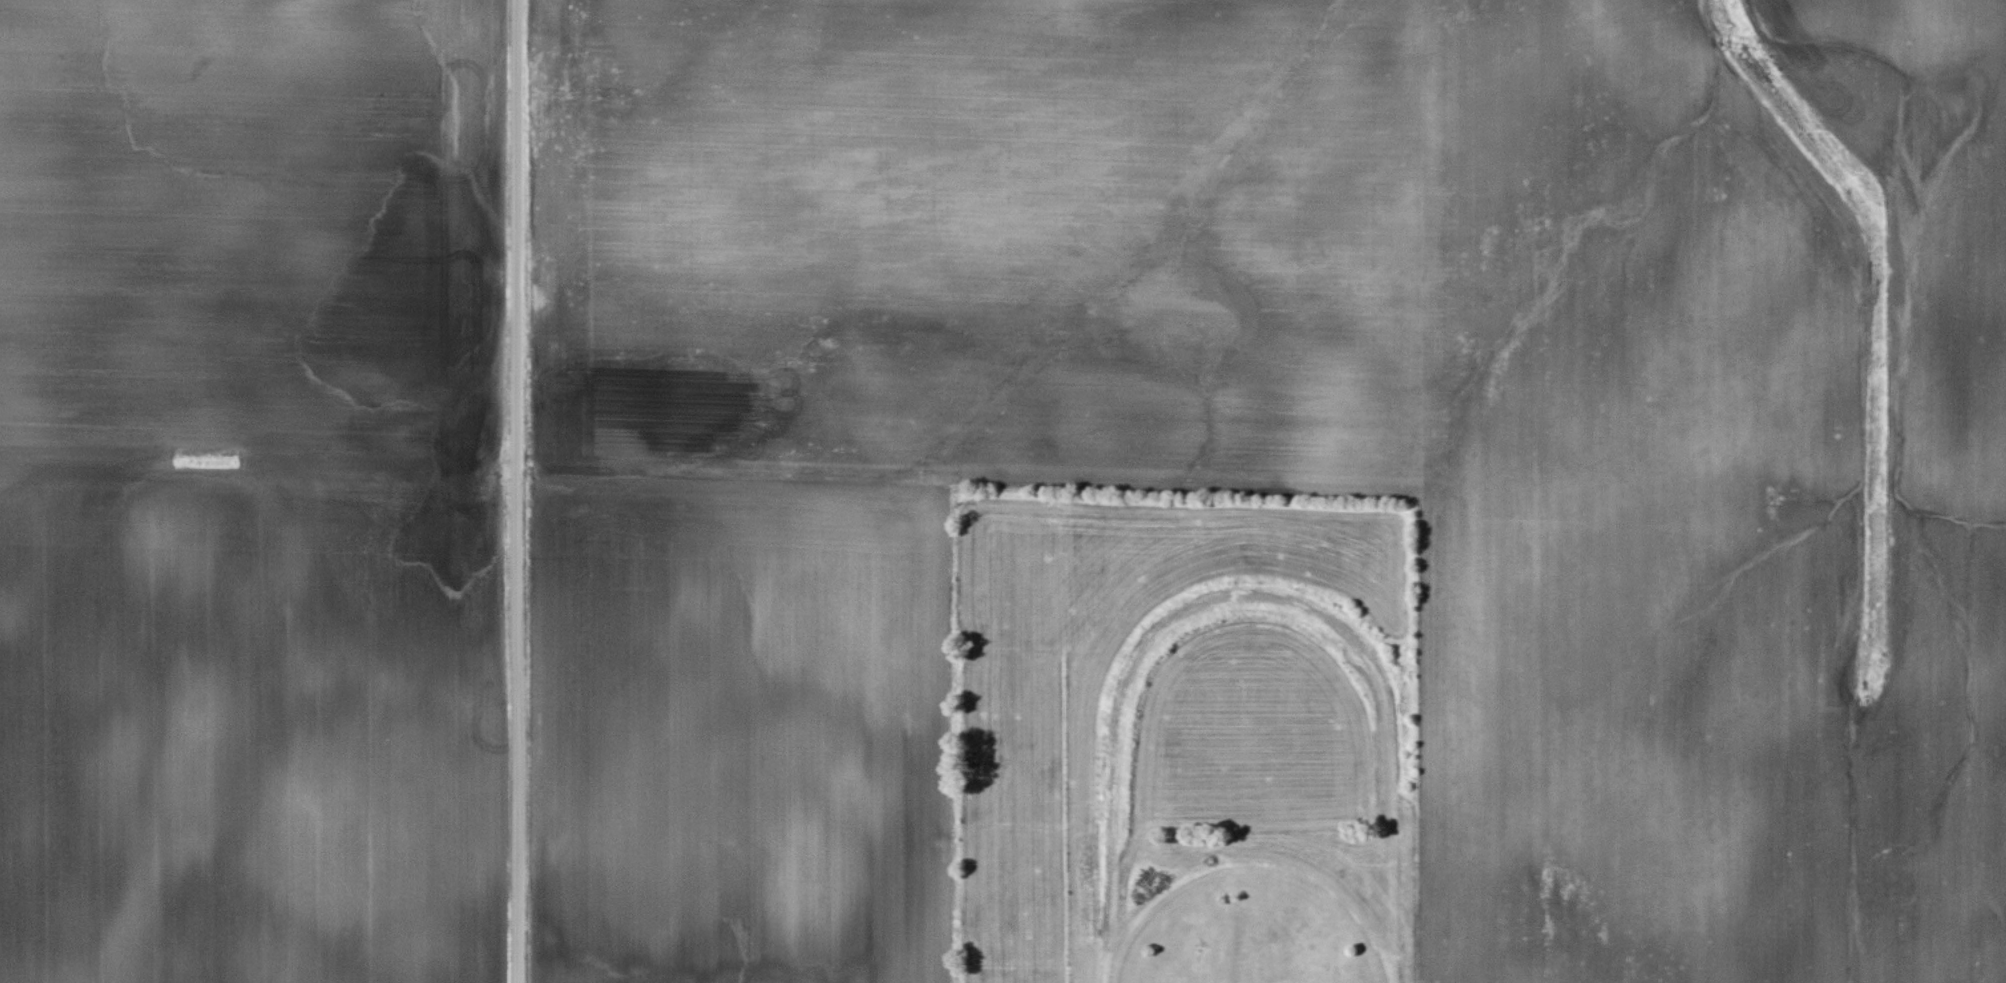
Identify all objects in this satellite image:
road: (515, 491)
road: (1649, 958)

